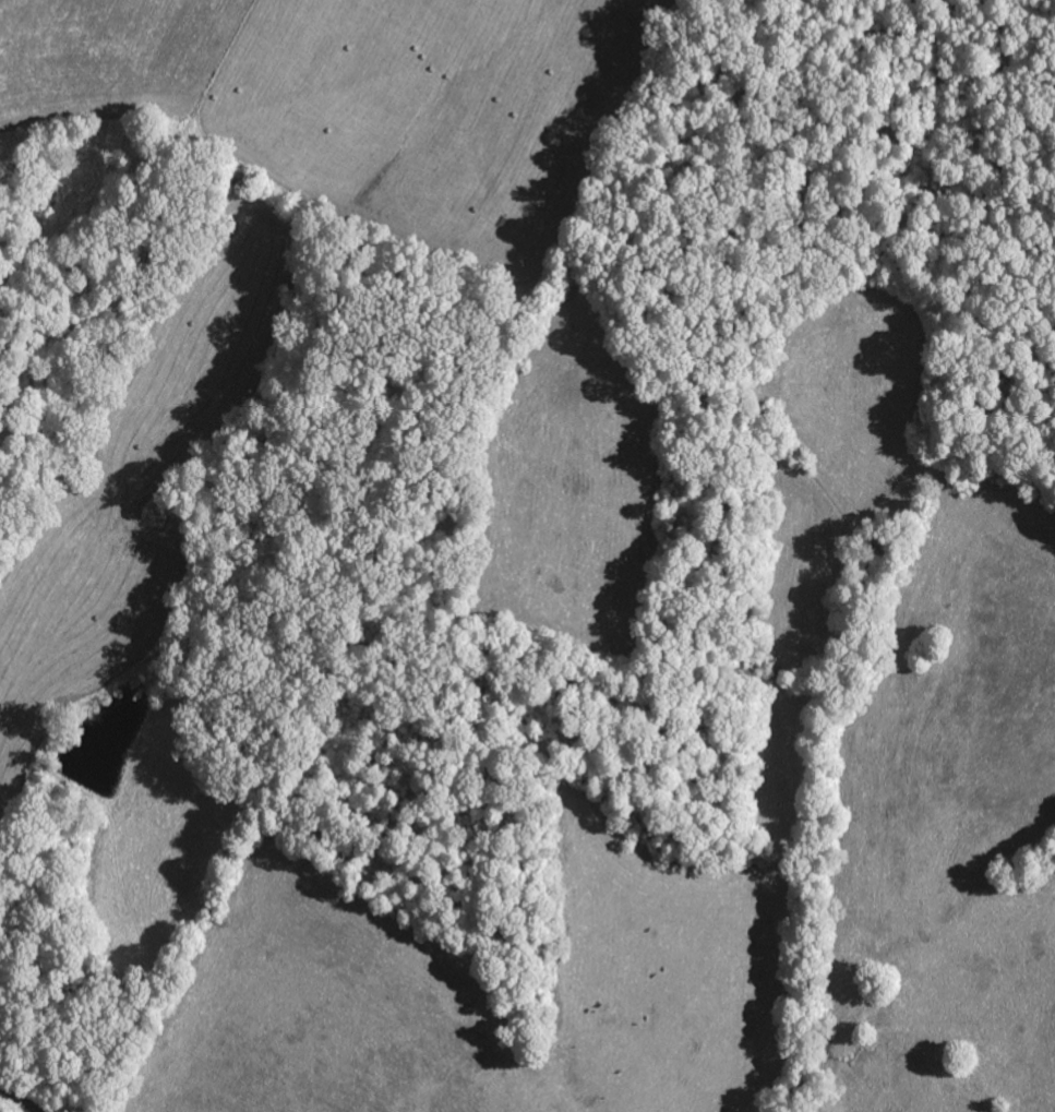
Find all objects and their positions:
road: (20, 1098)

